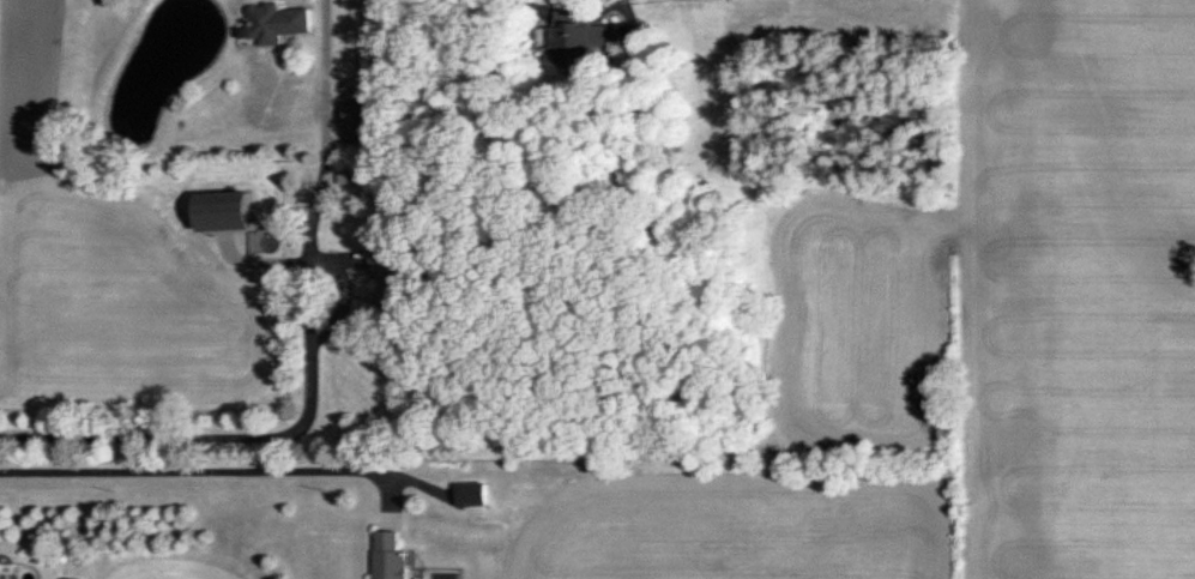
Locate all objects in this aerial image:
building: (283, 24)
building: (589, 40)
building: (370, 123)
building: (396, 292)
road: (304, 360)
road: (201, 466)
building: (478, 496)
building: (397, 557)
building: (2, 568)

